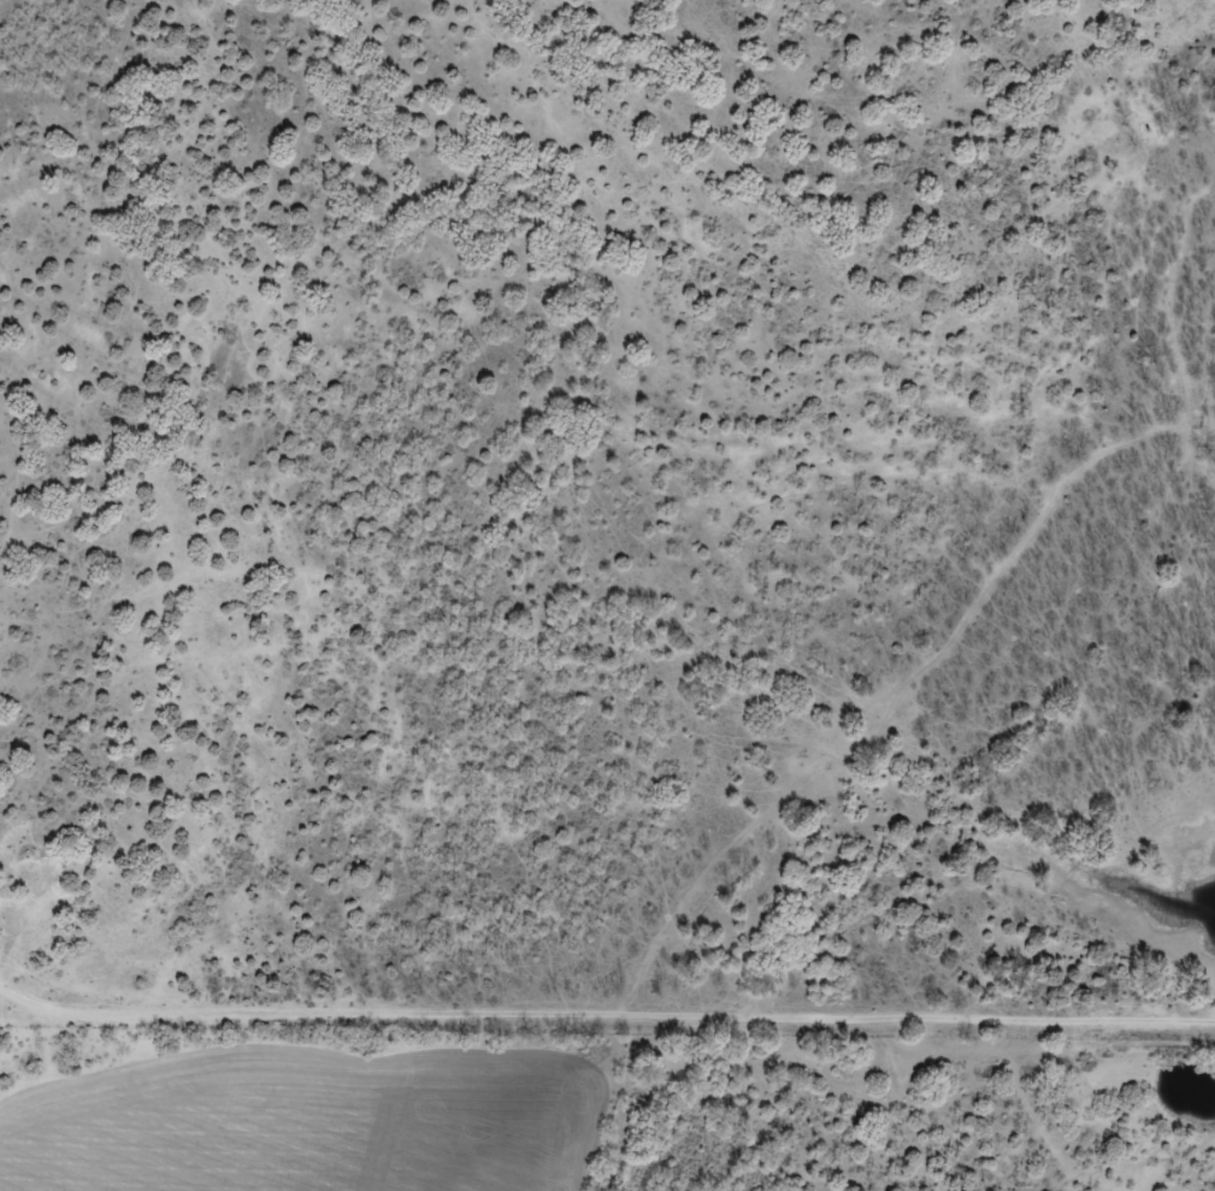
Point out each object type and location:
road: (603, 1003)

